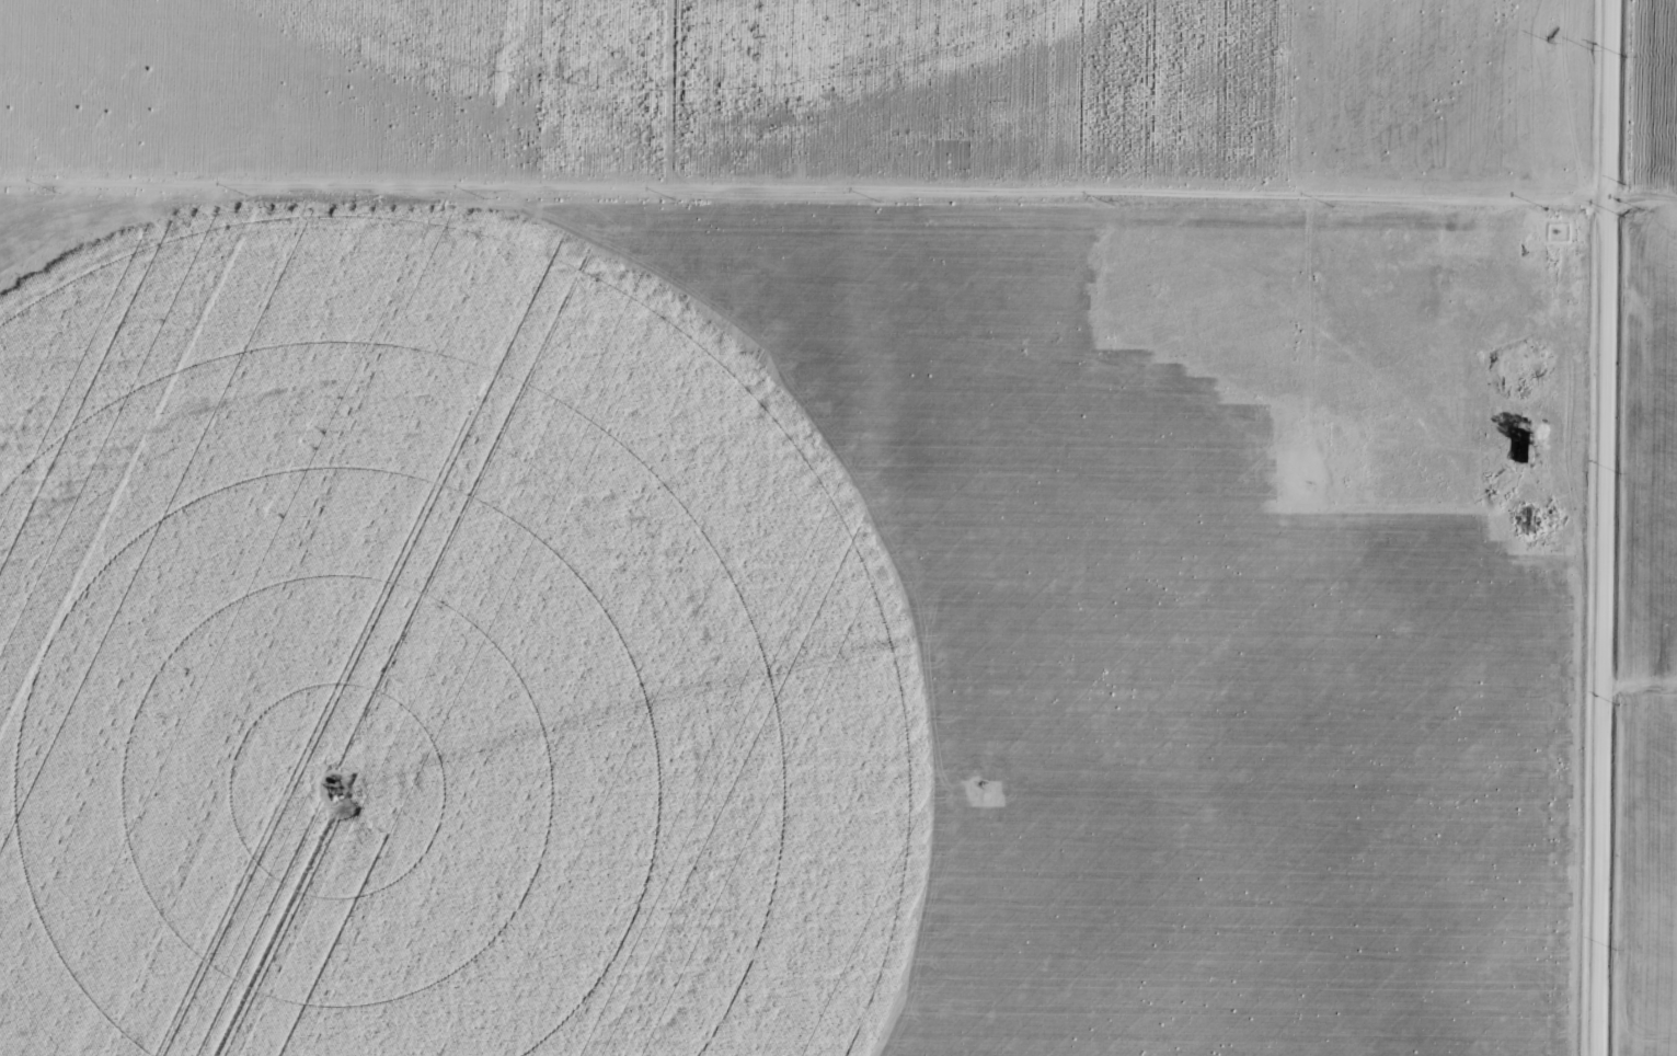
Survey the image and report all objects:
road: (838, 202)
road: (1598, 527)

